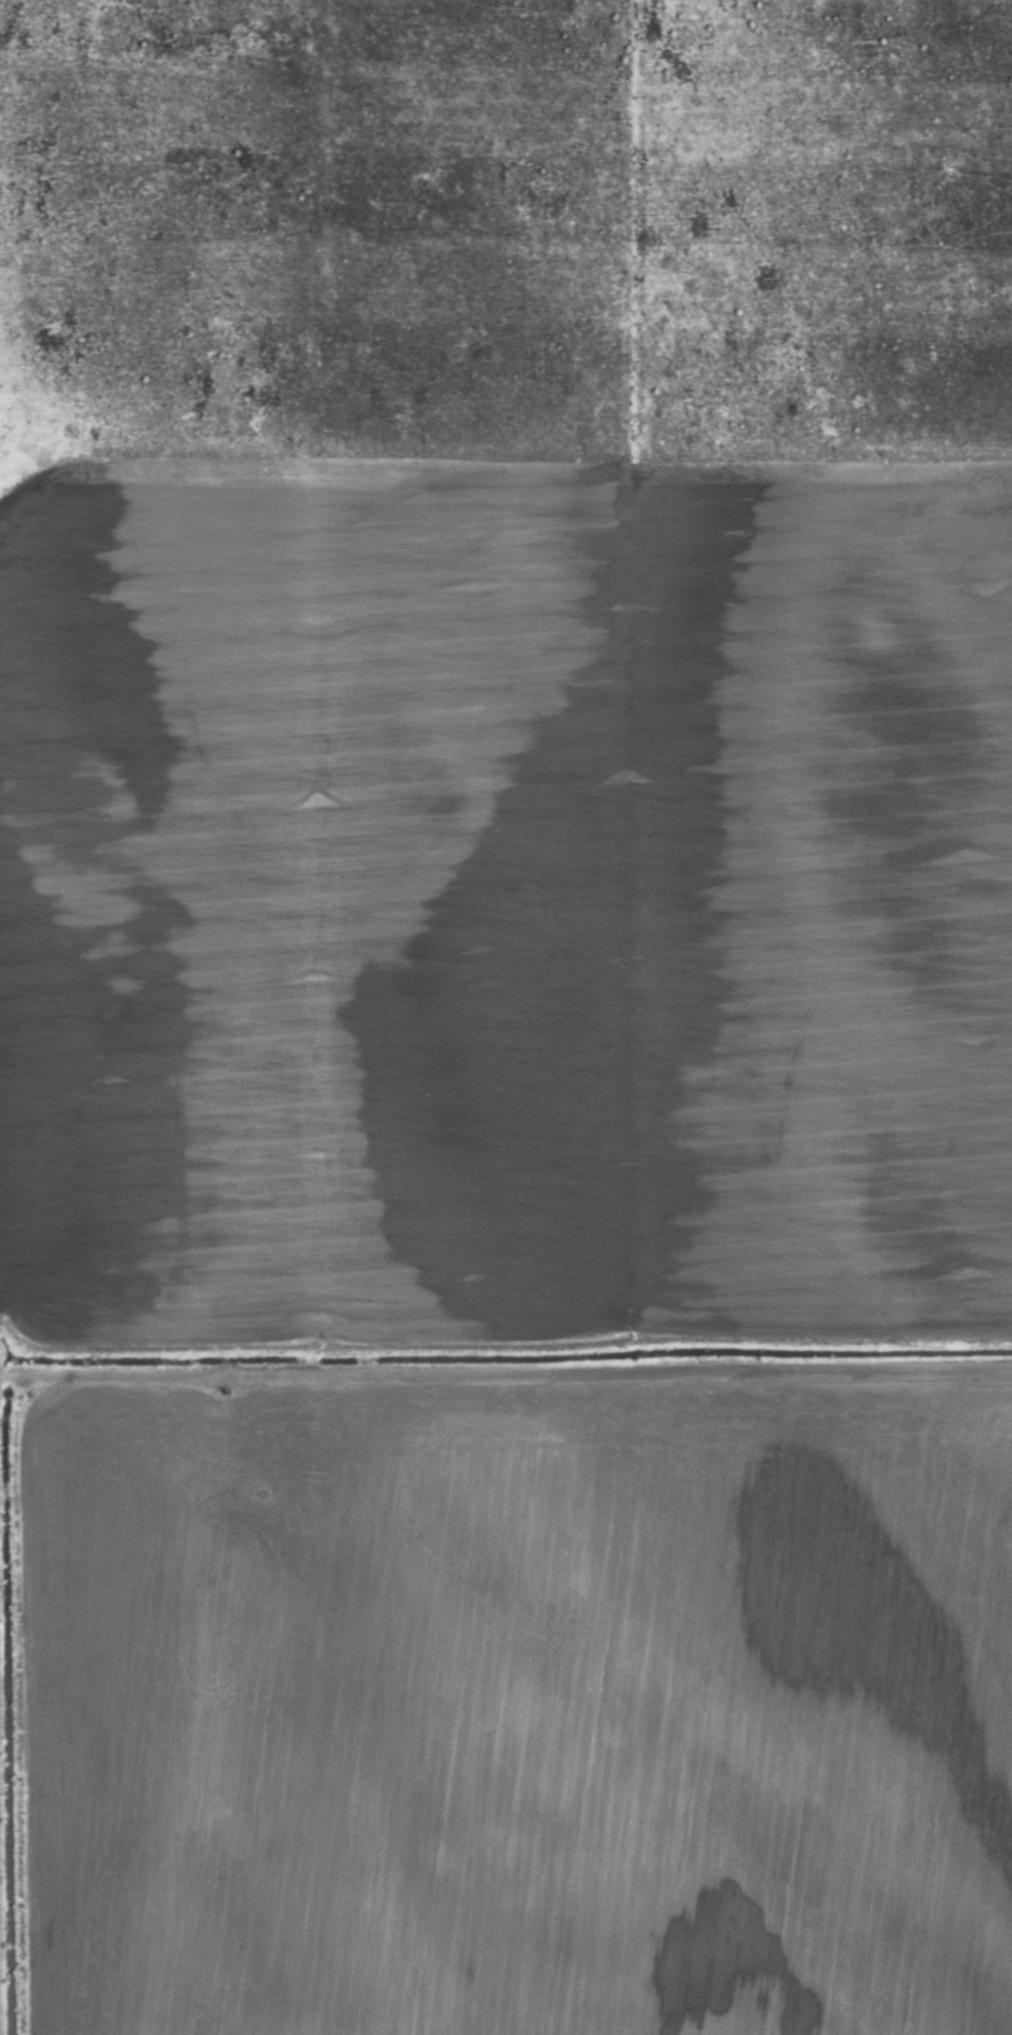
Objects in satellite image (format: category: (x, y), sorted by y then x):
road: (506, 1393)

